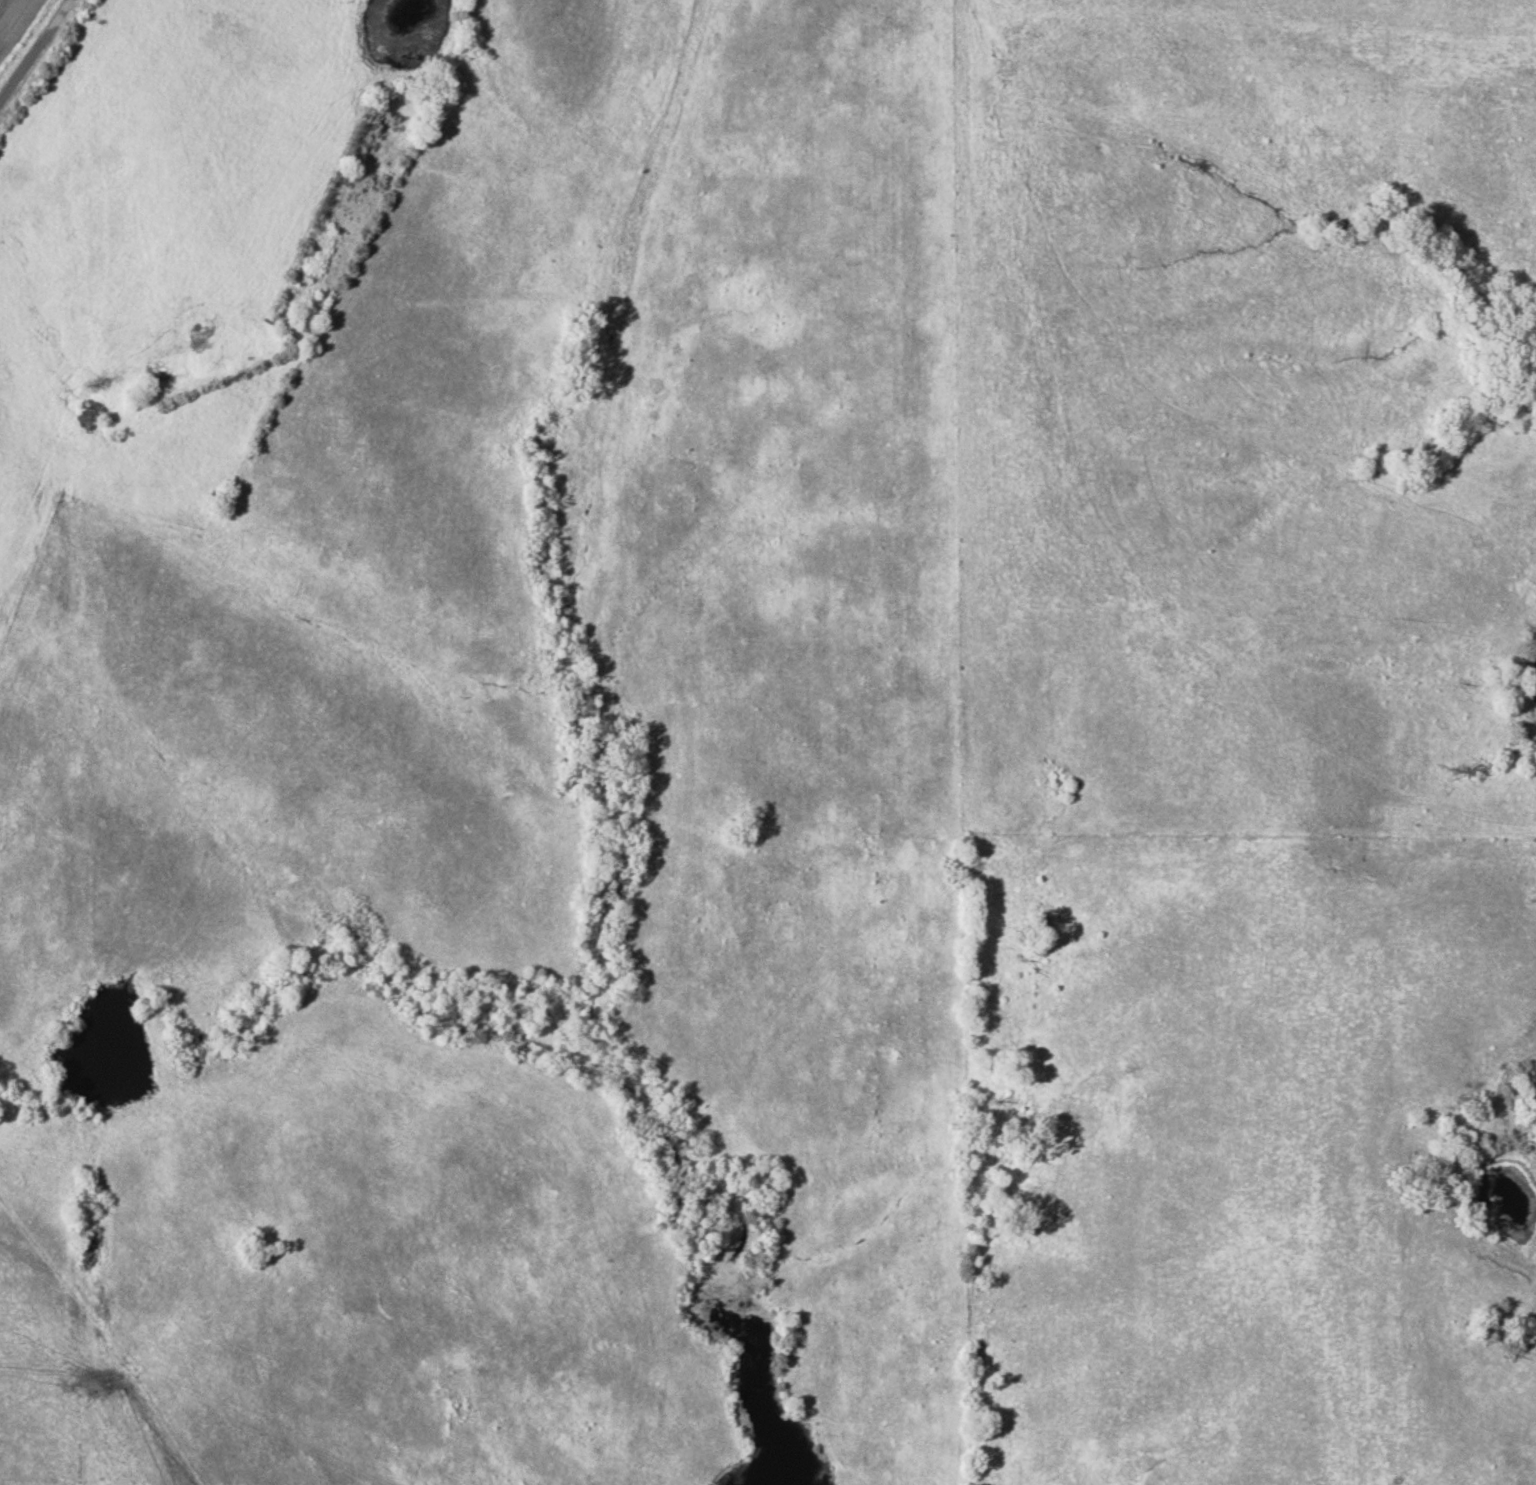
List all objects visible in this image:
road: (36, 53)

